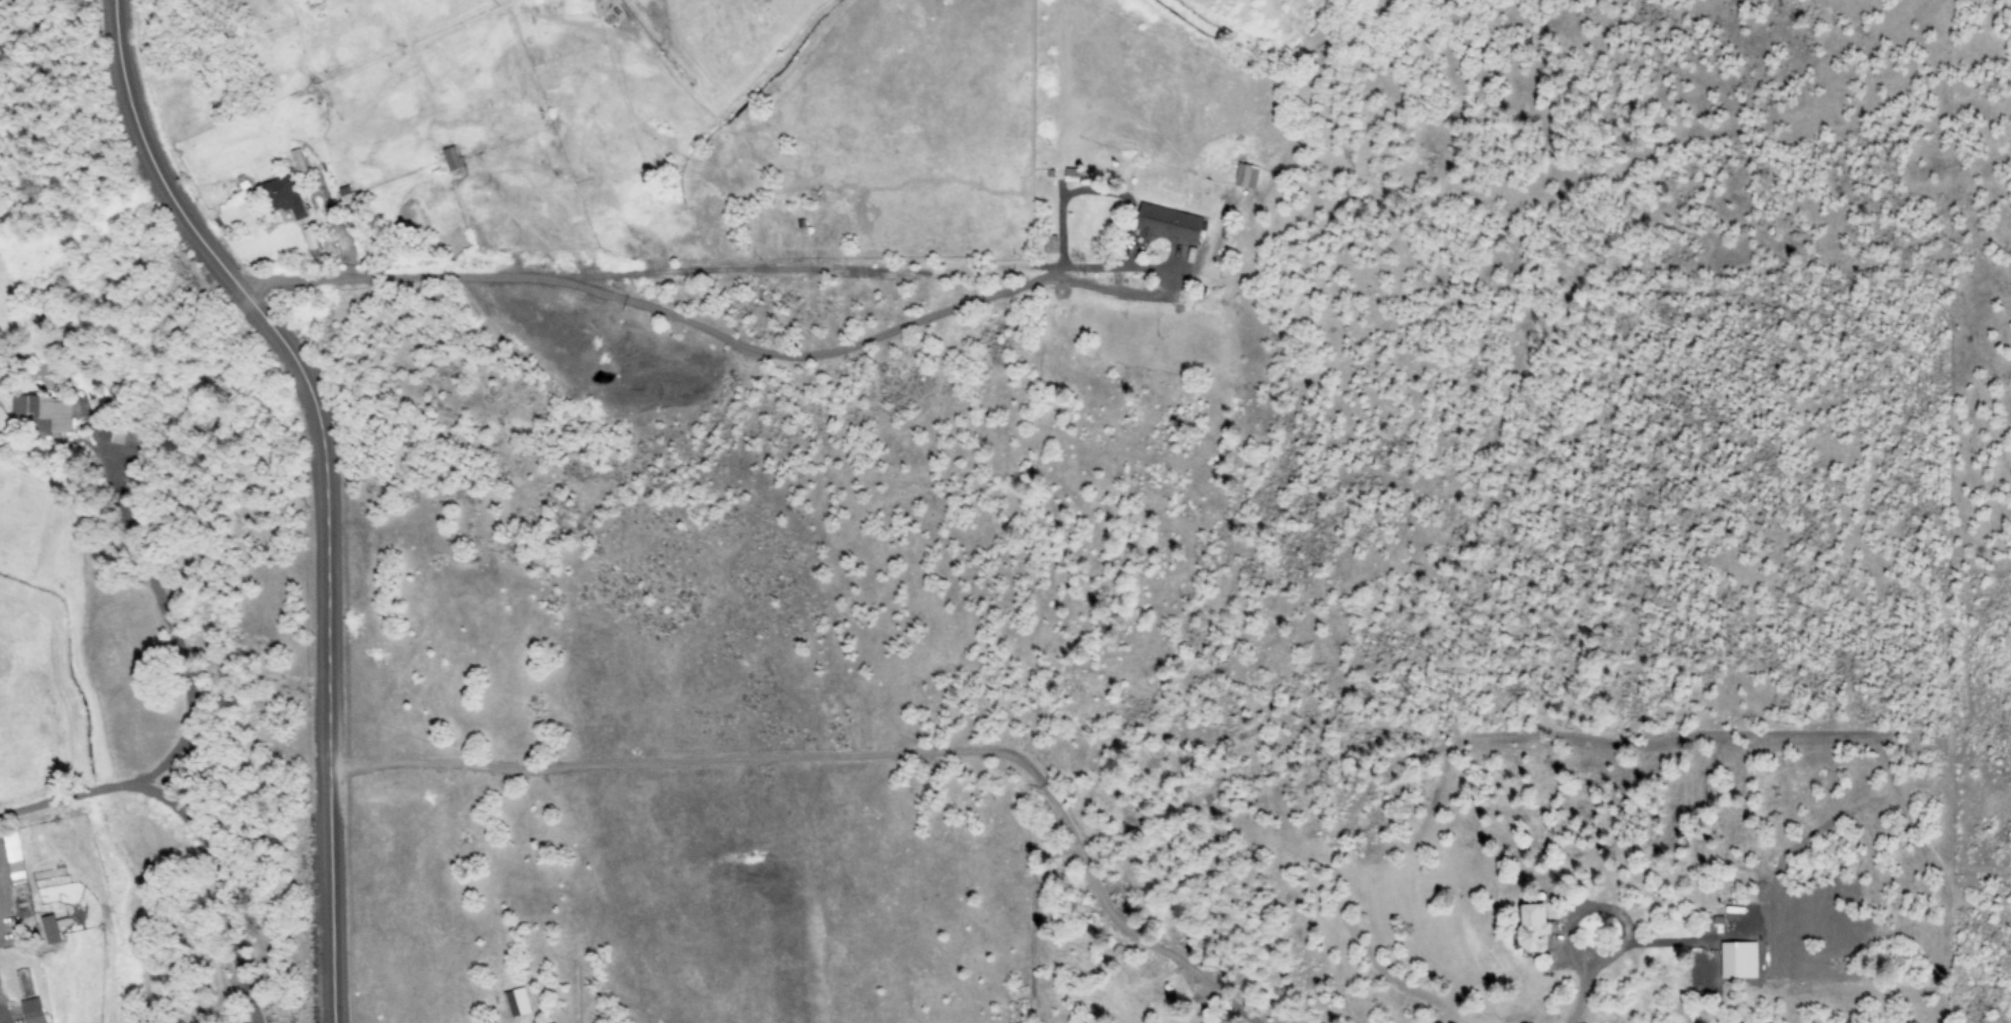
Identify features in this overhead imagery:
building: (453, 158)
building: (1245, 175)
building: (348, 194)
building: (285, 196)
building: (1167, 223)
building: (1050, 244)
road: (781, 354)
building: (44, 412)
building: (112, 432)
road: (325, 482)
road: (190, 826)
building: (1530, 927)
building: (53, 929)
building: (517, 1003)
building: (35, 1011)

